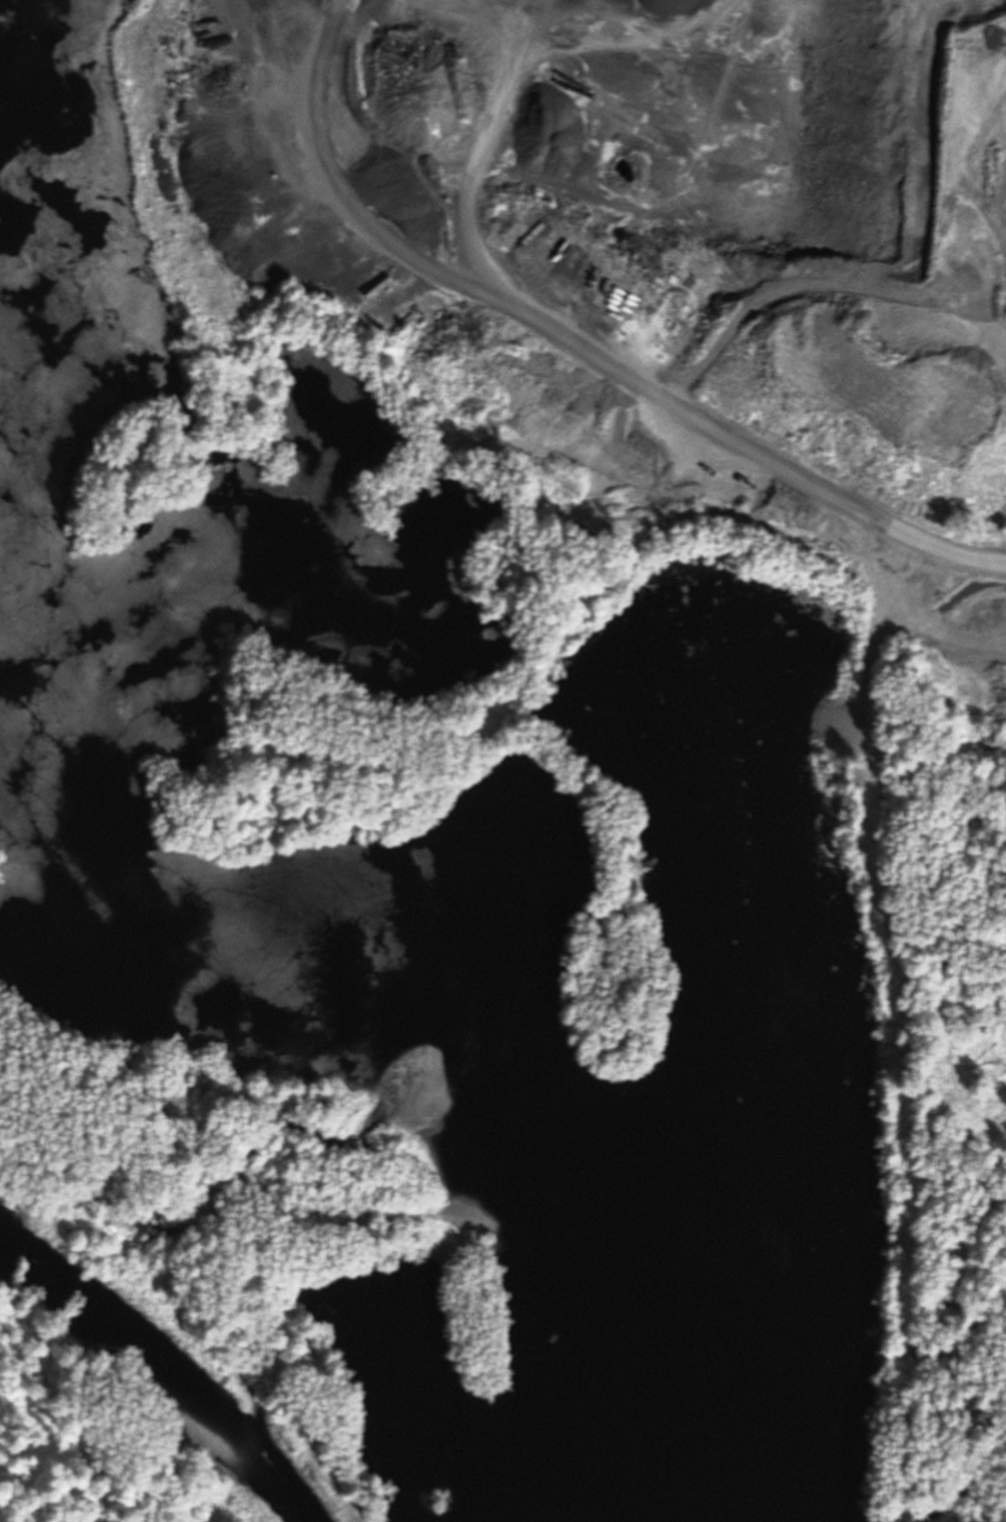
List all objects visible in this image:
building: (946, 116)
building: (873, 142)
quarry: (518, 739)
river: (88, 1349)

